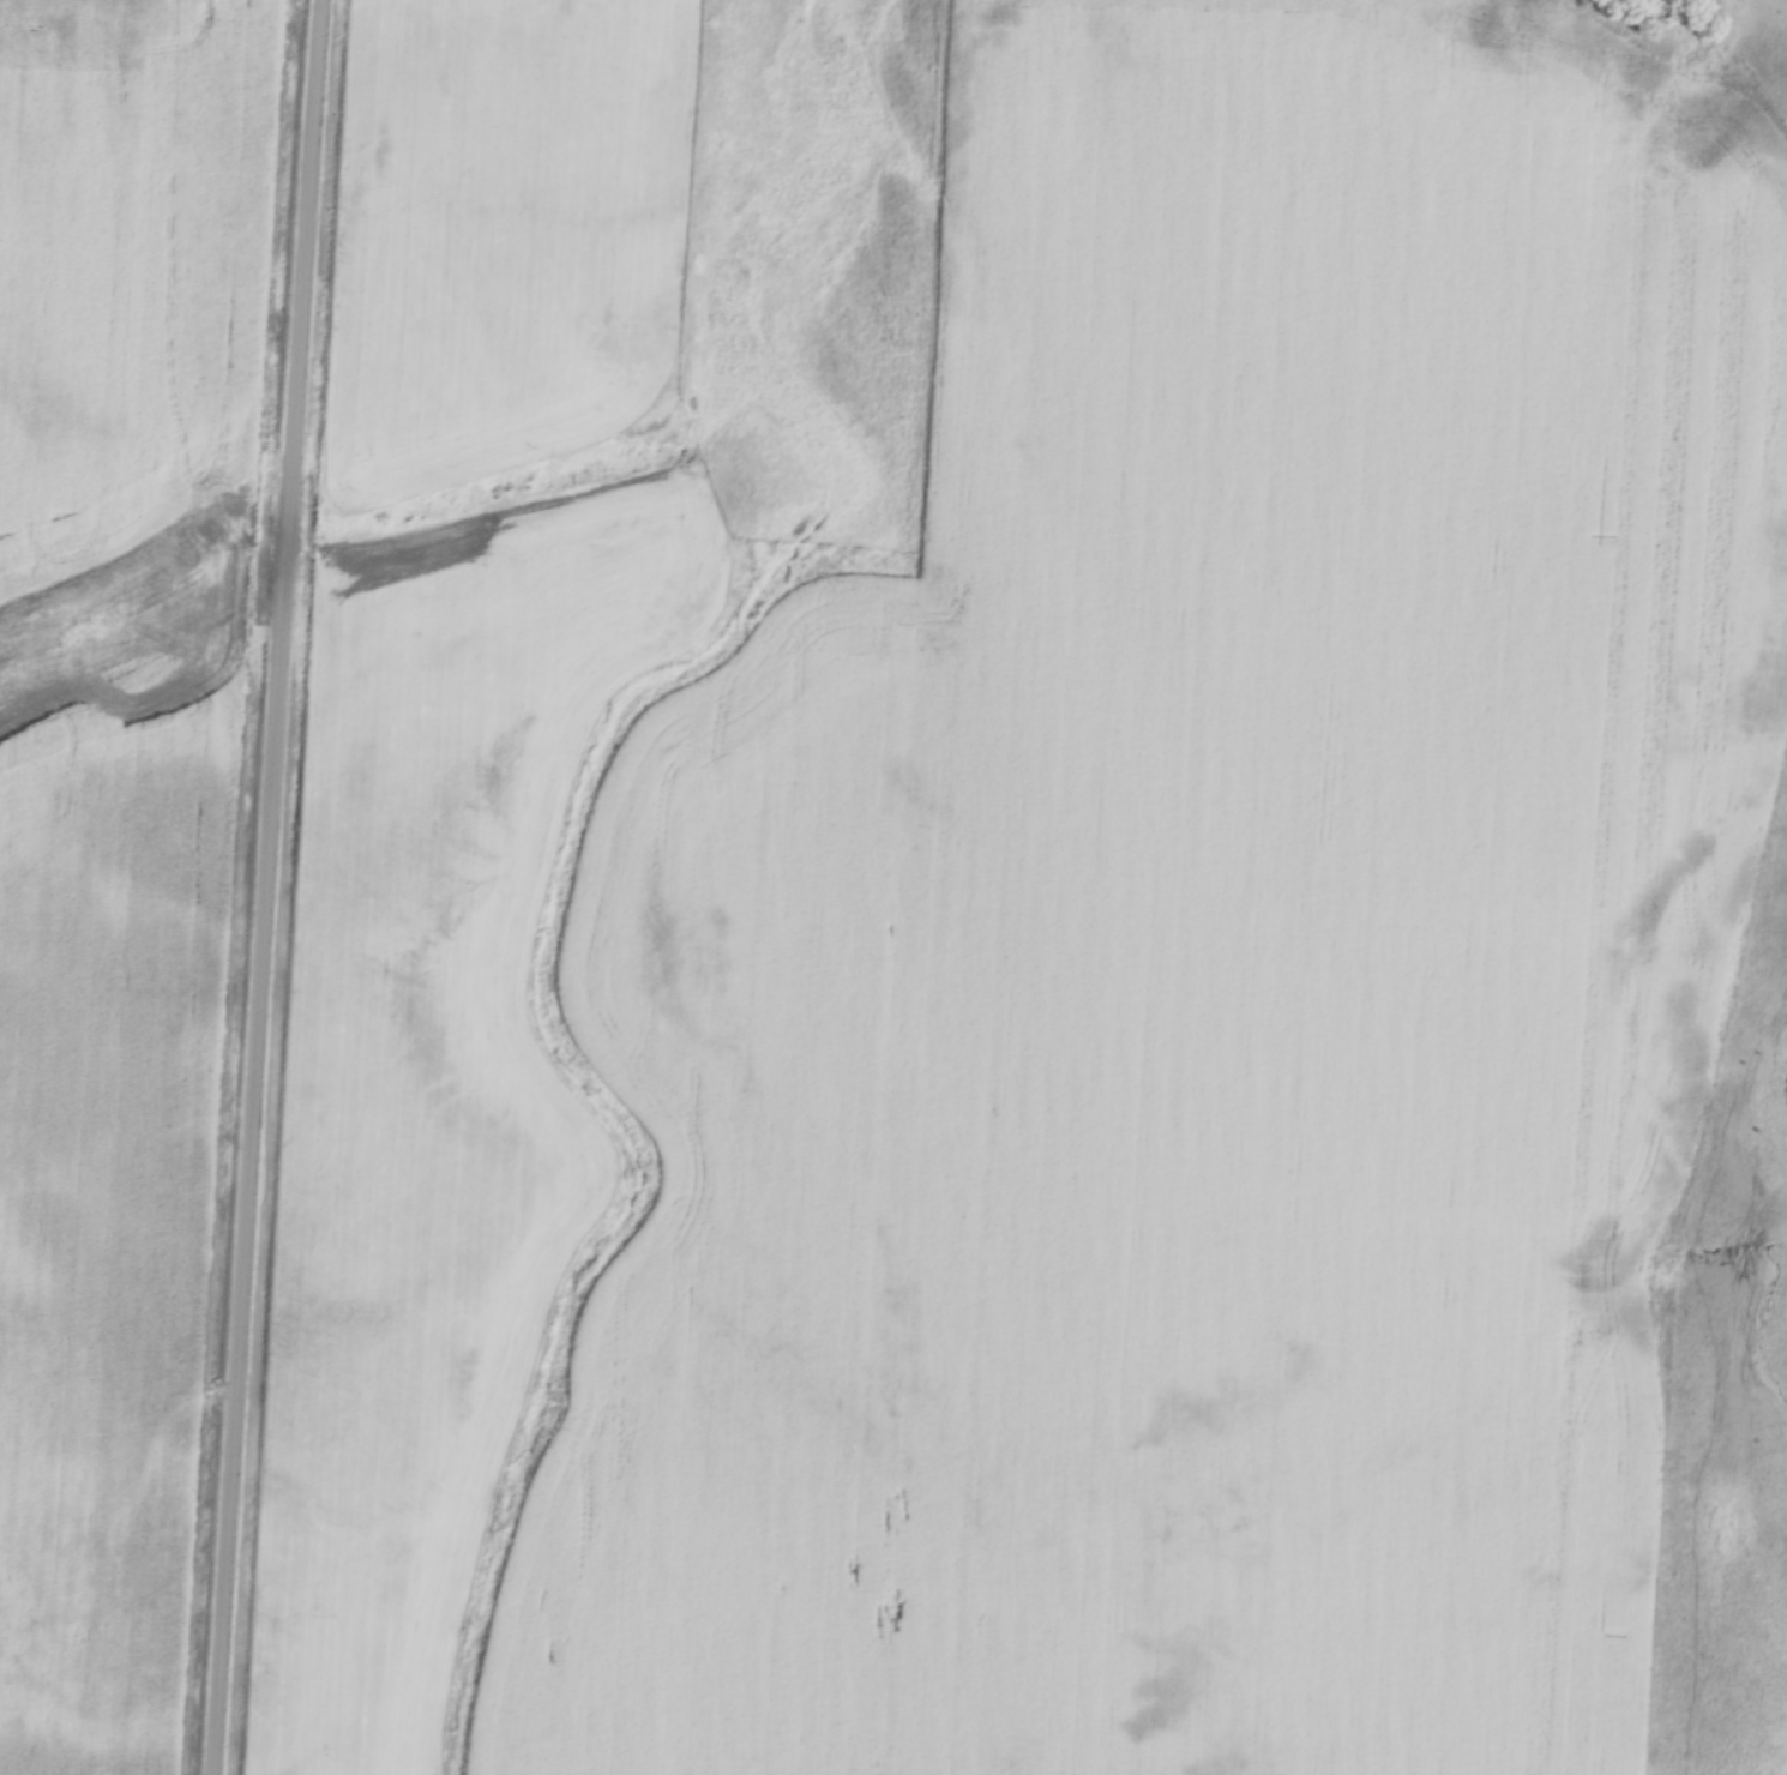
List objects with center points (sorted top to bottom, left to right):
crop: (66, 804)
road: (269, 887)
crop: (1195, 947)

